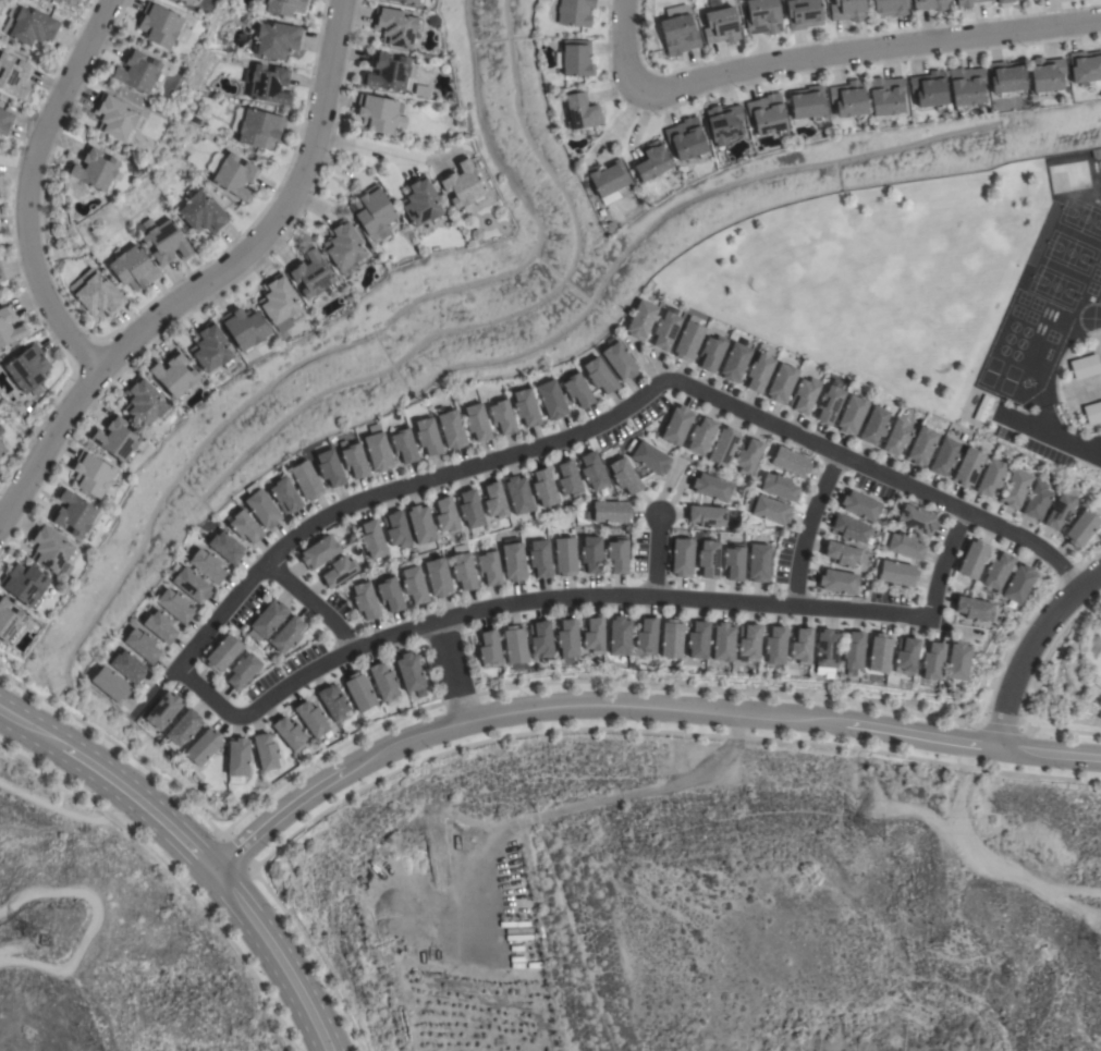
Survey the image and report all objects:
building: (54, 1)
building: (186, 1)
building: (407, 1)
building: (1003, 1)
building: (966, 2)
building: (713, 3)
building: (930, 4)
building: (283, 7)
building: (891, 8)
building: (847, 10)
building: (574, 12)
building: (804, 13)
building: (762, 16)
street lamp: (79, 21)
building: (28, 25)
building: (160, 25)
building: (721, 25)
building: (395, 26)
building: (678, 30)
building: (277, 39)
road: (631, 40)
road: (865, 52)
building: (575, 58)
building: (1085, 66)
building: (136, 72)
building: (389, 73)
building: (1047, 74)
building: (13, 76)
building: (1006, 77)
building: (268, 84)
building: (966, 86)
building: (929, 89)
building: (886, 95)
building: (848, 98)
building: (209, 102)
building: (808, 102)
building: (580, 111)
street lamp: (33, 113)
building: (379, 113)
building: (767, 114)
building: (115, 118)
building: (4, 122)
building: (723, 123)
building: (256, 126)
building: (686, 139)
road: (365, 148)
building: (651, 161)
building: (94, 170)
building: (232, 174)
building: (608, 181)
building: (462, 184)
road: (26, 186)
street lamp: (7, 199)
building: (421, 201)
building: (203, 213)
building: (374, 213)
building: (163, 241)
building: (344, 247)
building: (132, 268)
building: (313, 273)
building: (1, 276)
road: (207, 279)
street lamp: (22, 290)
building: (98, 296)
building: (279, 303)
building: (640, 319)
building: (10, 328)
building: (665, 328)
building: (244, 329)
street lamp: (86, 339)
building: (688, 340)
building: (210, 347)
building: (711, 352)
building: (619, 359)
building: (734, 363)
building: (1085, 366)
building: (27, 368)
building: (758, 372)
building: (174, 375)
building: (599, 375)
street lamp: (71, 382)
building: (781, 383)
building: (577, 390)
building: (805, 395)
building: (551, 400)
building: (144, 402)
building: (829, 404)
building: (526, 407)
building: (982, 408)
building: (1092, 413)
building: (852, 415)
building: (502, 416)
building: (477, 423)
building: (676, 425)
building: (873, 425)
building: (451, 429)
road: (587, 430)
building: (427, 436)
building: (700, 436)
road: (1051, 436)
building: (896, 437)
building: (117, 439)
building: (403, 444)
building: (921, 447)
building: (723, 448)
building: (2, 450)
building: (378, 450)
building: (648, 456)
building: (747, 456)
building: (944, 456)
building: (355, 461)
building: (791, 462)
building: (968, 467)
building: (330, 468)
building: (592, 470)
street lamp: (49, 474)
building: (93, 475)
building: (624, 476)
building: (991, 477)
building: (568, 479)
building: (306, 480)
building: (710, 487)
building: (779, 487)
building: (543, 488)
building: (1015, 489)
building: (285, 494)
building: (518, 494)
building: (494, 500)
building: (1037, 501)
building: (859, 505)
building: (261, 506)
building: (469, 509)
building: (769, 510)
building: (1060, 511)
building: (609, 512)
building: (74, 514)
building: (445, 516)
building: (706, 516)
building: (916, 520)
building: (420, 524)
building: (245, 526)
road: (805, 527)
building: (1081, 528)
building: (395, 529)
building: (849, 529)
building: (371, 539)
building: (903, 545)
building: (225, 547)
building: (51, 550)
building: (319, 552)
building: (591, 554)
building: (617, 554)
building: (842, 554)
building: (564, 555)
road: (655, 555)
building: (681, 557)
building: (540, 559)
building: (708, 559)
building: (972, 559)
building: (513, 562)
building: (734, 562)
building: (758, 562)
road: (943, 564)
building: (207, 565)
building: (489, 566)
building: (463, 569)
building: (996, 571)
building: (339, 572)
building: (896, 573)
building: (437, 577)
building: (837, 582)
building: (189, 583)
building: (1018, 583)
building: (413, 584)
building: (24, 585)
building: (389, 594)
building: (365, 600)
road: (528, 601)
road: (313, 602)
building: (175, 606)
building: (974, 609)
building: (268, 620)
building: (9, 622)
building: (159, 626)
building: (288, 635)
building: (594, 635)
building: (620, 636)
building: (646, 637)
building: (671, 638)
building: (540, 639)
building: (697, 639)
building: (567, 640)
building: (723, 641)
building: (748, 643)
building: (143, 645)
building: (800, 646)
building: (514, 647)
building: (774, 647)
road: (1027, 647)
building: (489, 649)
building: (825, 651)
building: (853, 652)
building: (879, 652)
building: (223, 653)
building: (905, 656)
building: (957, 661)
building: (931, 663)
building: (127, 667)
road: (451, 670)
building: (243, 671)
building: (408, 672)
building: (383, 681)
building: (111, 685)
building: (360, 694)
building: (333, 702)
road: (634, 706)
building: (163, 710)
building: (313, 719)
building: (183, 729)
building: (290, 733)
building: (204, 746)
building: (266, 753)
building: (237, 760)
road: (76, 815)
power tower: (879, 832)
road: (192, 852)
road: (105, 922)
power tower: (42, 940)

